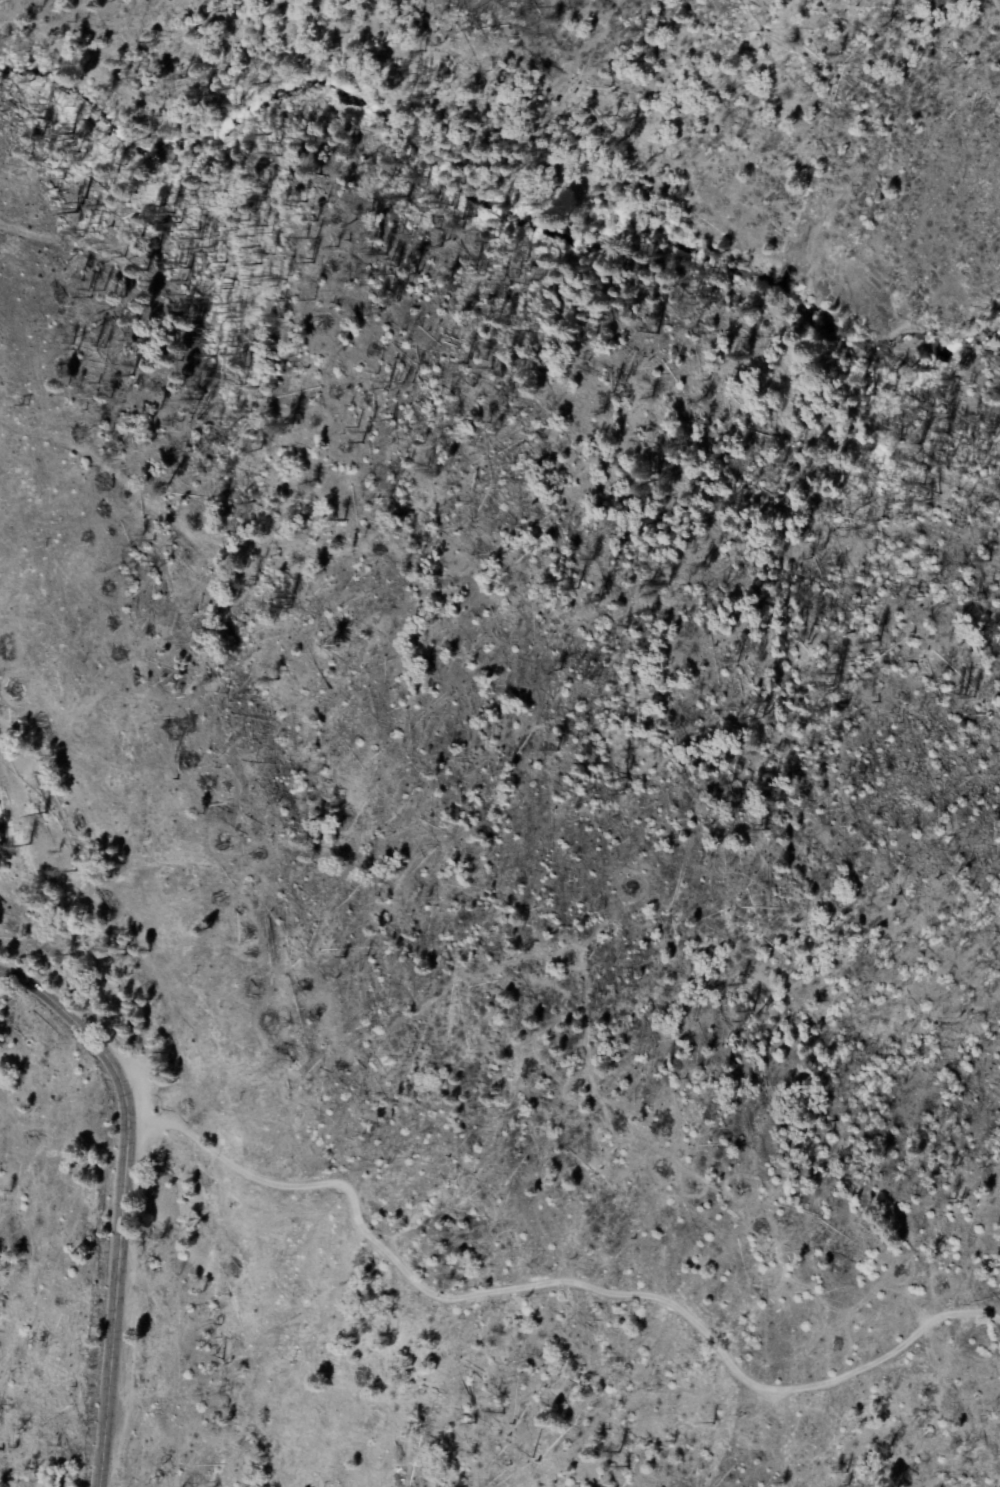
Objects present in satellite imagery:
road: (121, 1201)
road: (551, 1283)

